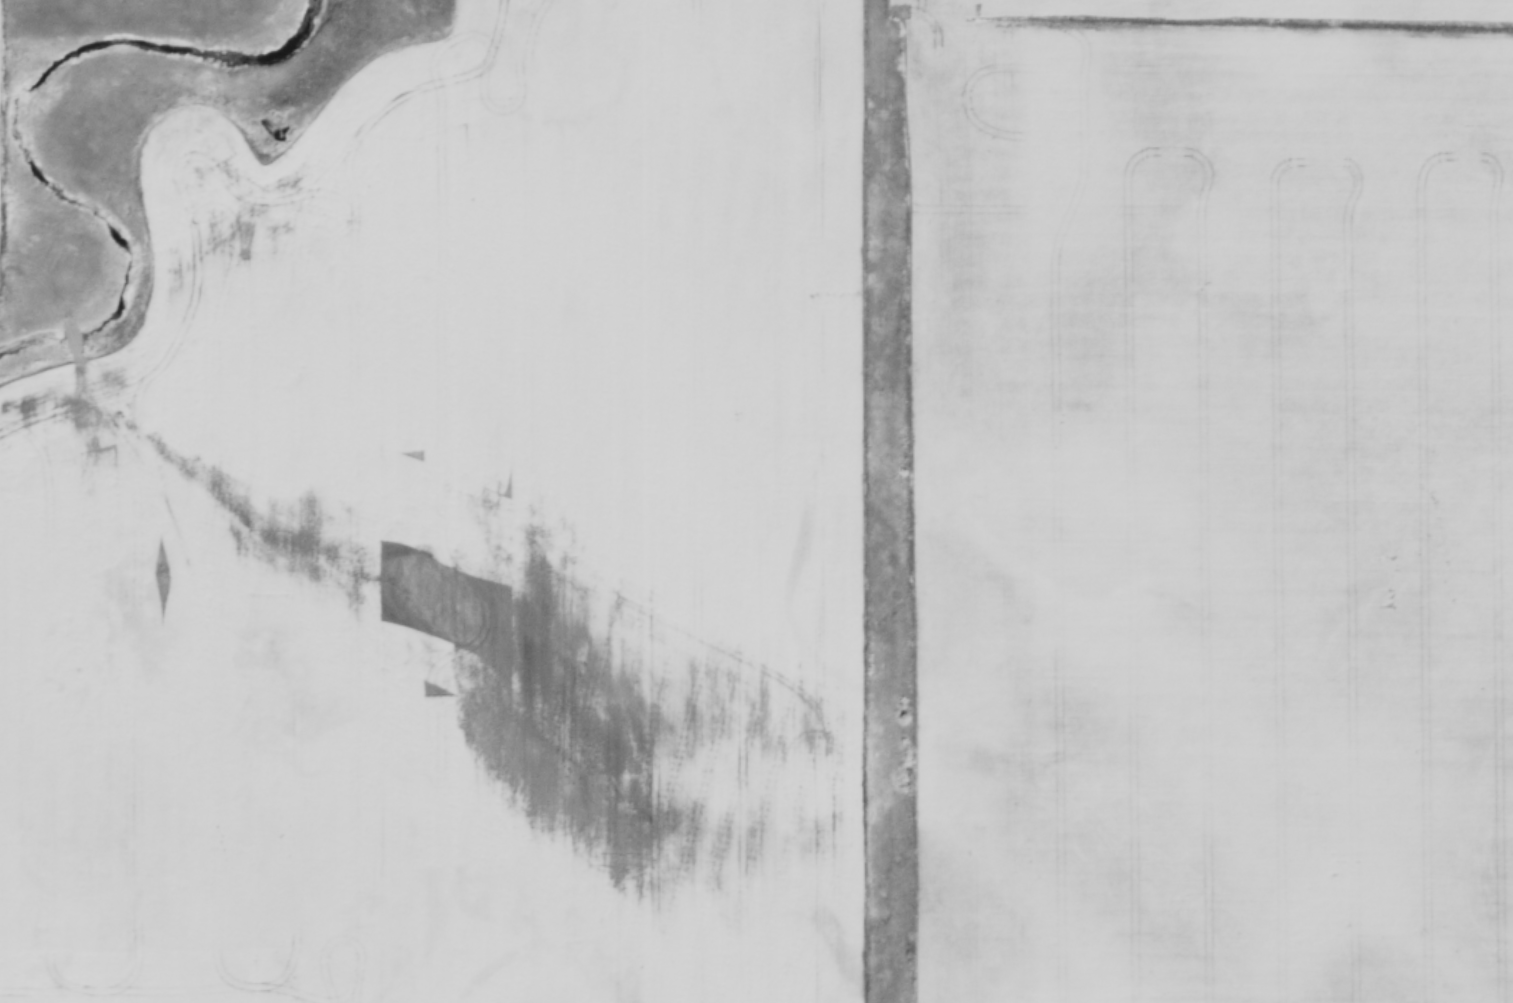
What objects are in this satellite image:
crop: (460, 538)

